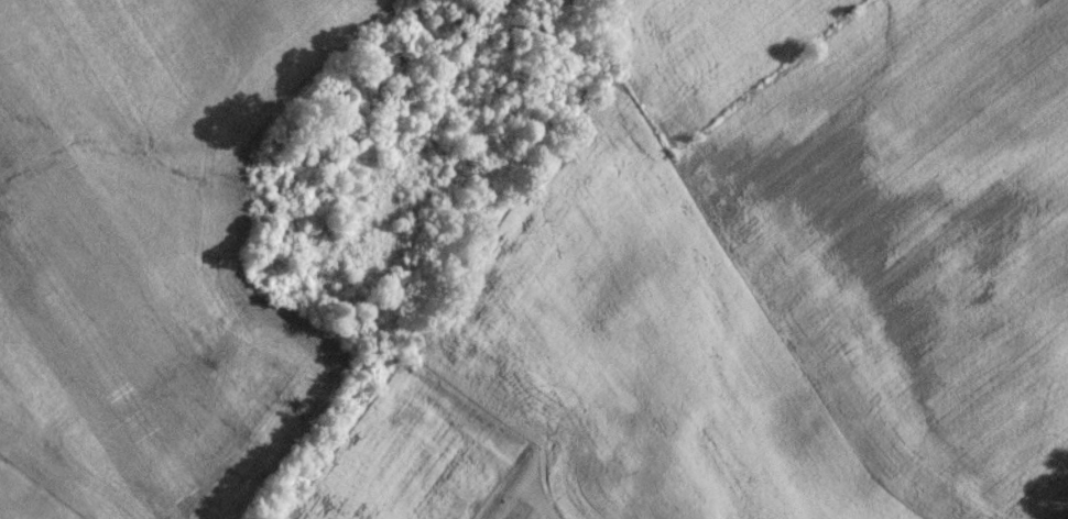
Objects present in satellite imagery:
crop: (889, 213)
crop: (150, 252)
crop: (596, 369)
road: (514, 516)

